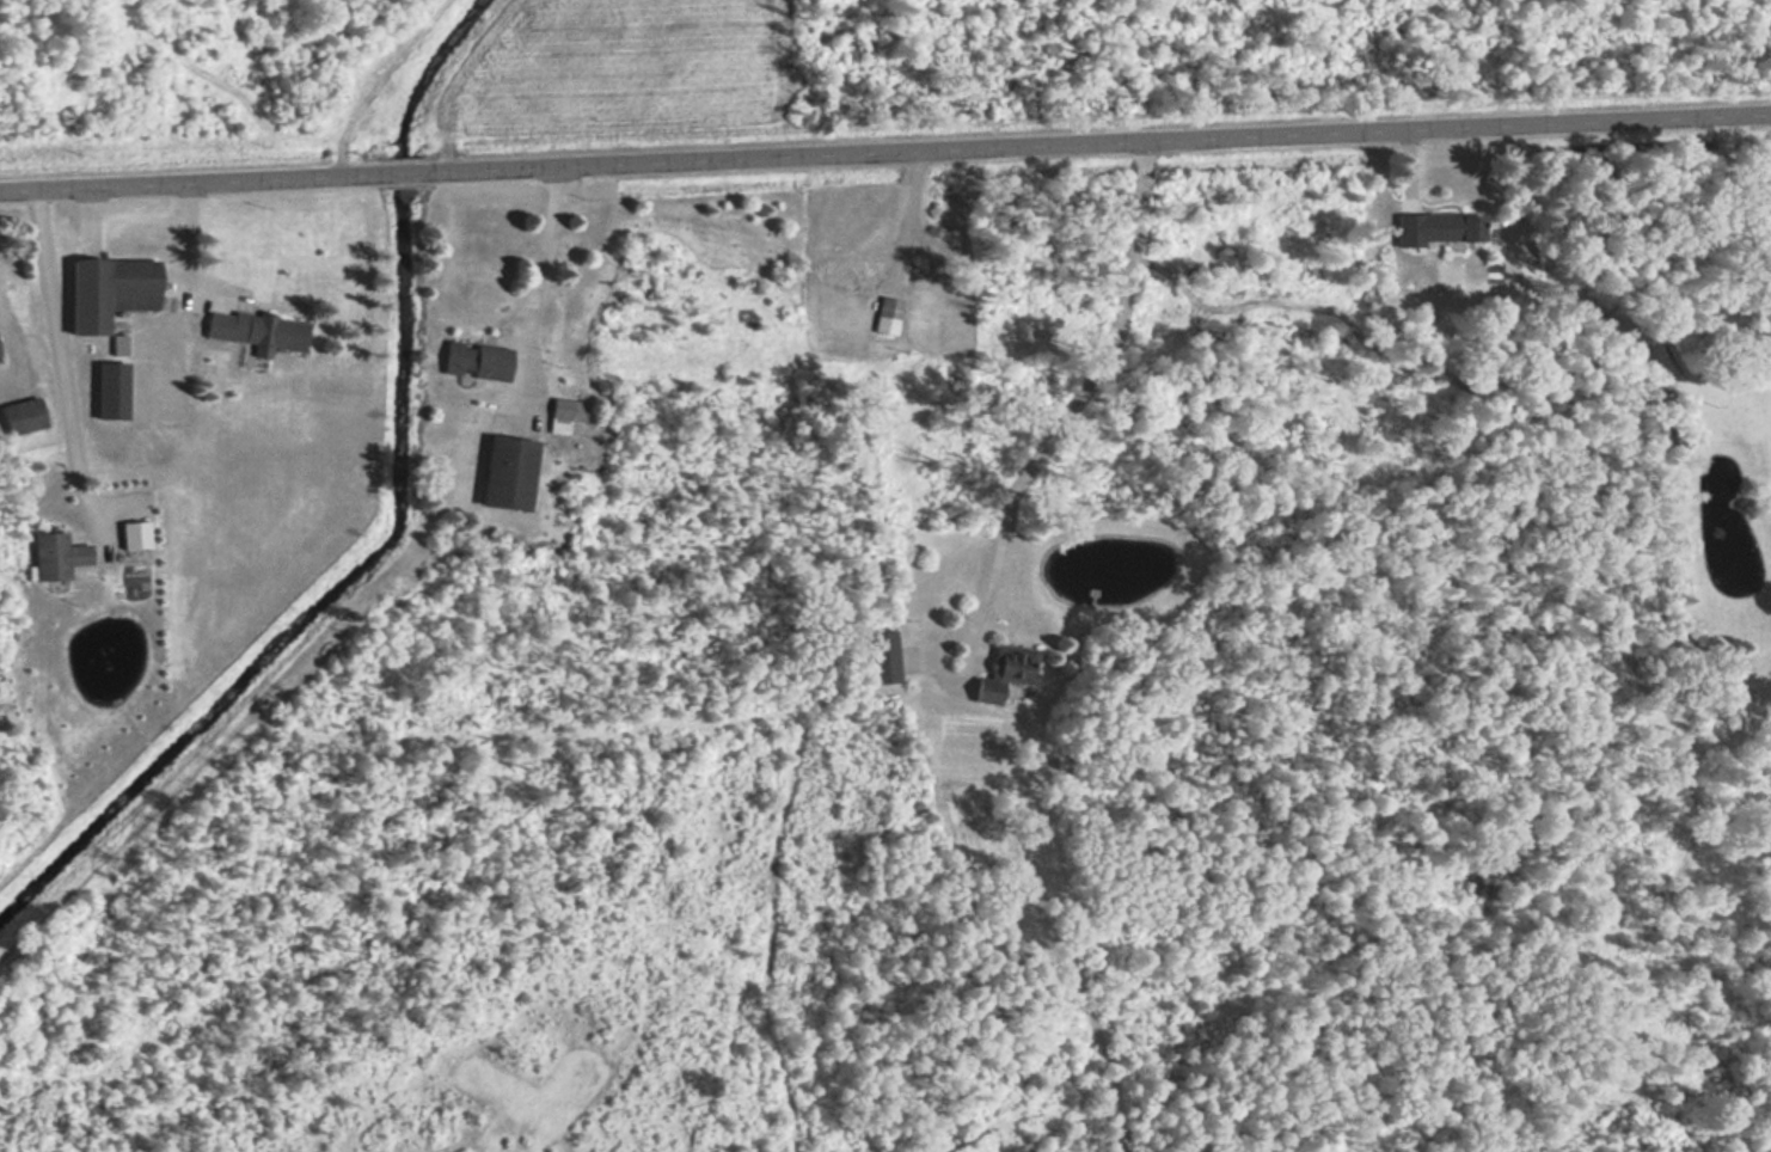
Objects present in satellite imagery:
park: (1243, 62)
road: (1104, 143)
road: (409, 172)
road: (190, 182)
building: (1446, 223)
building: (850, 270)
building: (105, 290)
building: (887, 312)
building: (253, 330)
building: (474, 359)
building: (564, 412)
building: (18, 416)
building: (504, 471)
building: (53, 554)
building: (877, 662)
building: (1001, 668)

